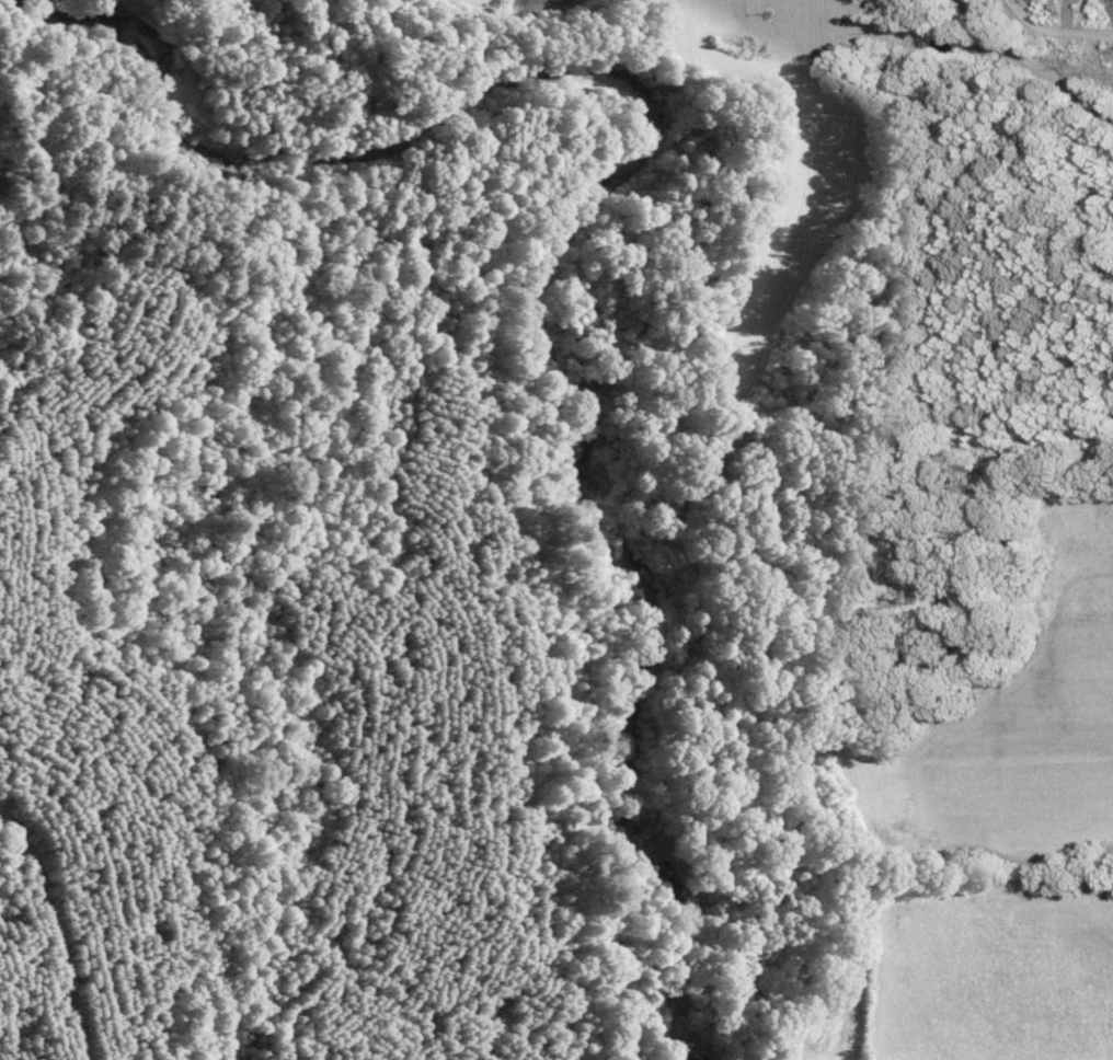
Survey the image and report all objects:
road: (1036, 65)

